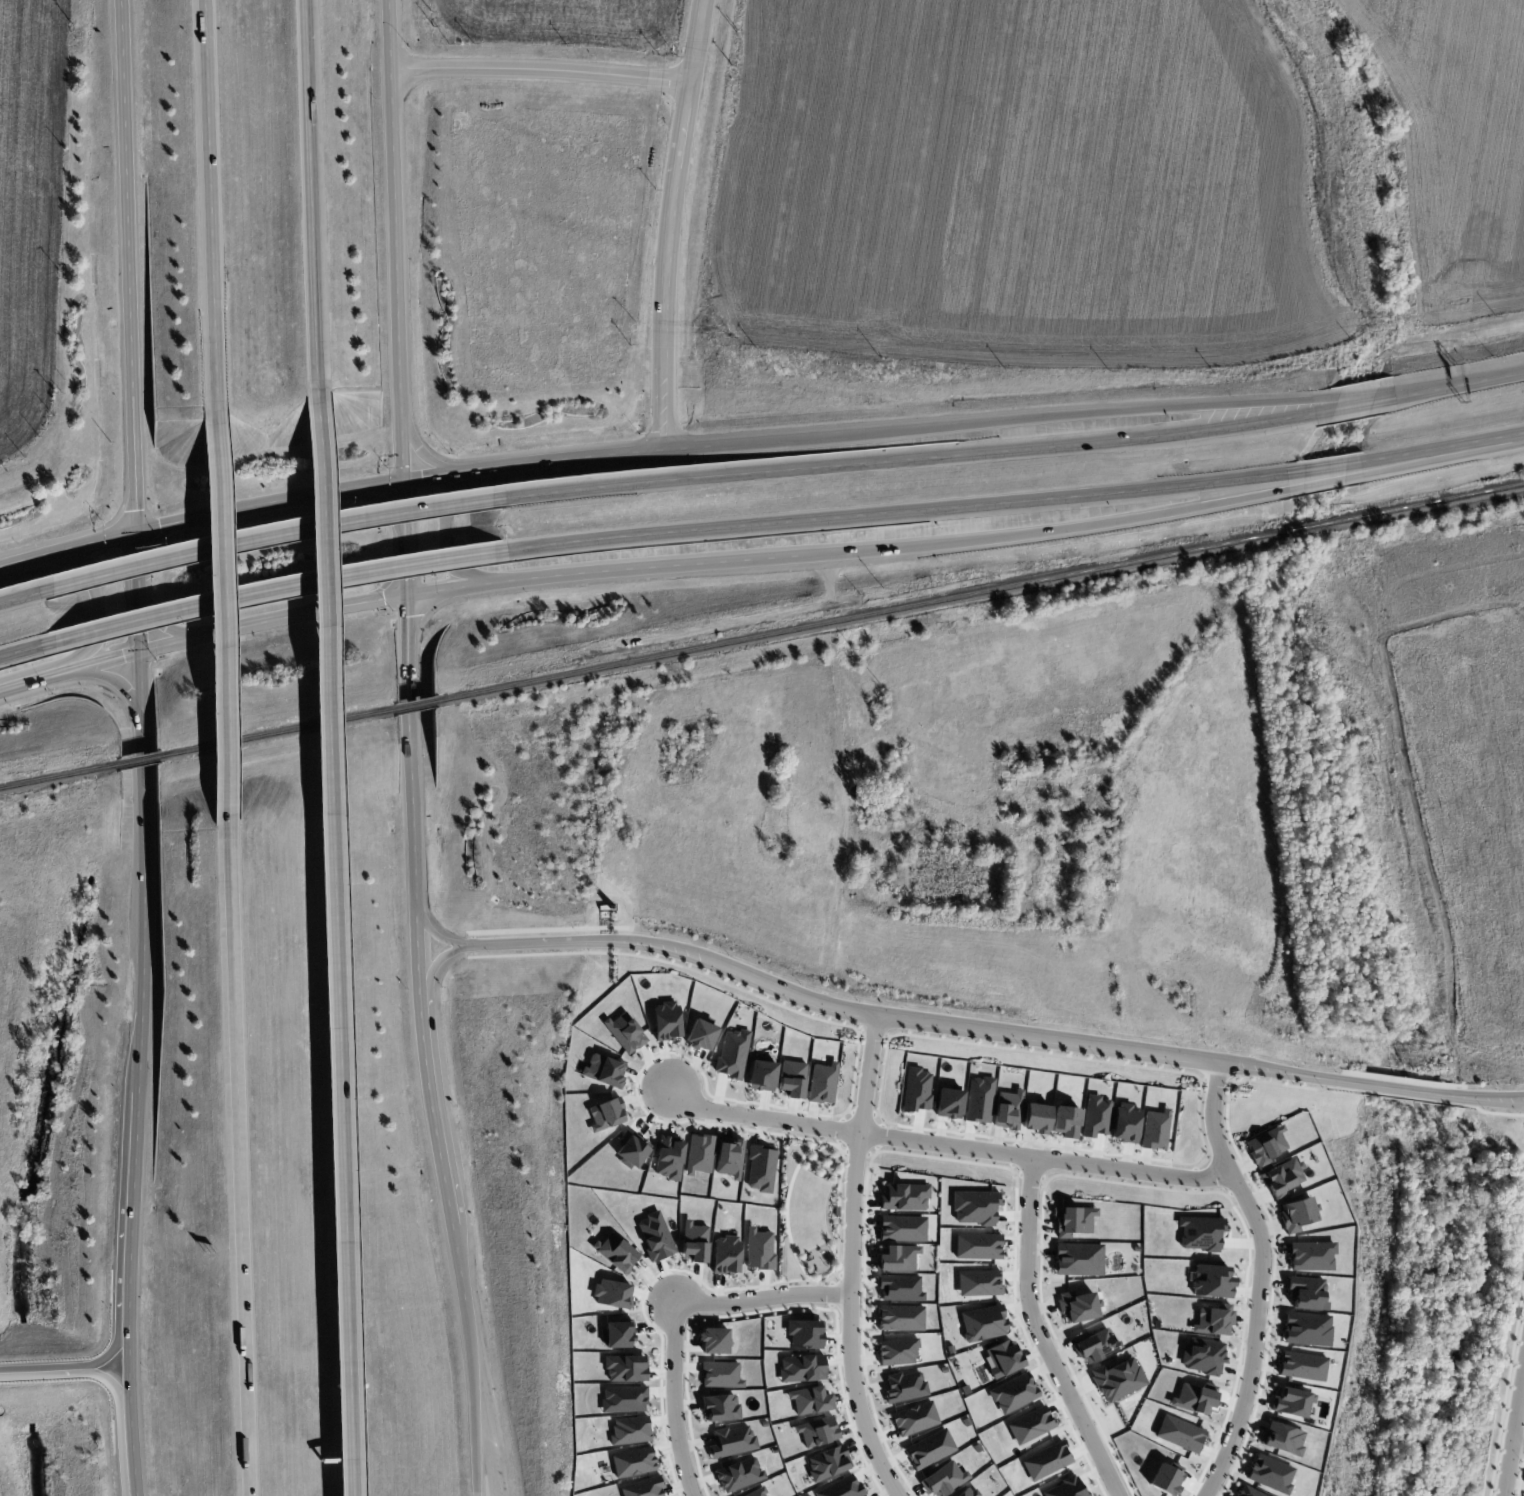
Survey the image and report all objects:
road: (390, 34)
road: (540, 68)
road: (313, 205)
road: (212, 210)
road: (668, 223)
road: (132, 266)
road: (395, 275)
road: (1076, 416)
road: (1015, 449)
road: (639, 451)
road: (421, 454)
road: (524, 464)
road: (471, 471)
road: (432, 477)
traffic signals: (403, 482)
road: (1015, 502)
road: (384, 504)
road: (405, 508)
road: (1165, 515)
road: (200, 519)
road: (445, 530)
traffic signals: (136, 534)
road: (268, 535)
road: (137, 564)
road: (407, 565)
road: (278, 590)
railway: (980, 592)
road: (422, 593)
traffic signals: (408, 595)
road: (19, 597)
road: (831, 605)
road: (97, 610)
road: (221, 621)
road: (138, 623)
road: (162, 623)
road: (28, 650)
traffic signals: (138, 651)
road: (26, 684)
road: (116, 684)
road: (1487, 694)
railway: (415, 704)
railway: (275, 732)
road: (412, 756)
railway: (139, 760)
railway: (60, 775)
road: (525, 930)
road: (333, 934)
road: (437, 935)
road: (584, 941)
road: (472, 945)
road: (420, 952)
road: (438, 961)
road: (141, 1011)
building: (667, 1020)
road: (957, 1026)
road: (916, 1035)
building: (732, 1053)
building: (604, 1070)
road: (1292, 1072)
building: (762, 1074)
road: (1409, 1089)
road: (1422, 1089)
road: (1489, 1093)
building: (979, 1099)
road: (1414, 1099)
road: (1488, 1103)
road: (433, 1106)
building: (1008, 1109)
road: (1488, 1112)
building: (1095, 1116)
building: (1037, 1117)
building: (1066, 1120)
building: (1125, 1123)
building: (1155, 1129)
road: (947, 1145)
building: (1265, 1146)
building: (669, 1157)
road: (236, 1159)
building: (761, 1168)
building: (1282, 1178)
building: (904, 1197)
building: (1296, 1214)
building: (1074, 1220)
building: (726, 1255)
building: (898, 1258)
building: (1078, 1259)
road: (849, 1260)
road: (460, 1262)
road: (1261, 1276)
building: (1212, 1281)
building: (1307, 1293)
road: (673, 1315)
building: (983, 1322)
road: (1040, 1335)
building: (1003, 1358)
road: (64, 1373)
building: (1013, 1392)
road: (474, 1397)
building: (721, 1406)
road: (1512, 1429)
road: (132, 1433)
building: (733, 1441)
road: (1517, 1441)
road: (349, 1476)
building: (944, 1478)
building: (1249, 1492)

